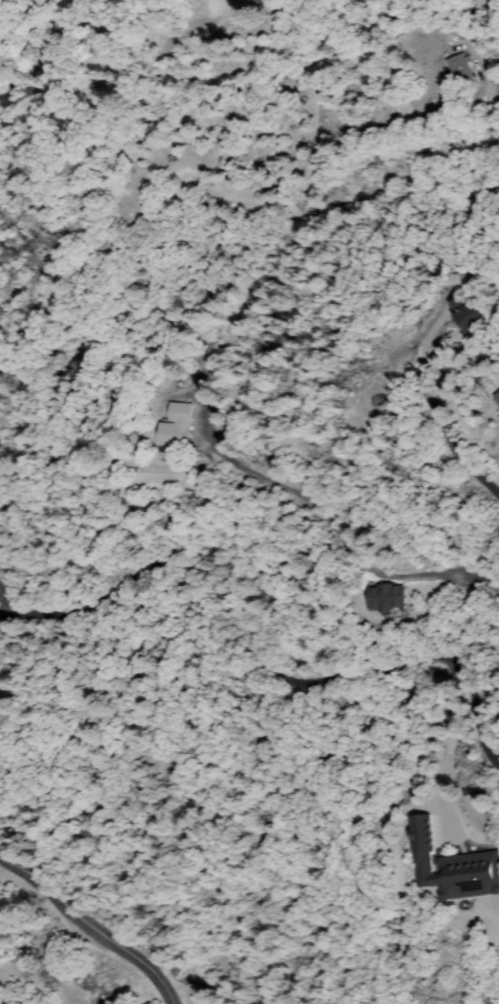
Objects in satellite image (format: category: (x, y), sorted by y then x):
building: (461, 71)
building: (498, 86)
building: (472, 314)
building: (497, 396)
road: (447, 413)
building: (178, 430)
building: (388, 597)
road: (252, 647)
building: (460, 869)
road: (90, 926)

